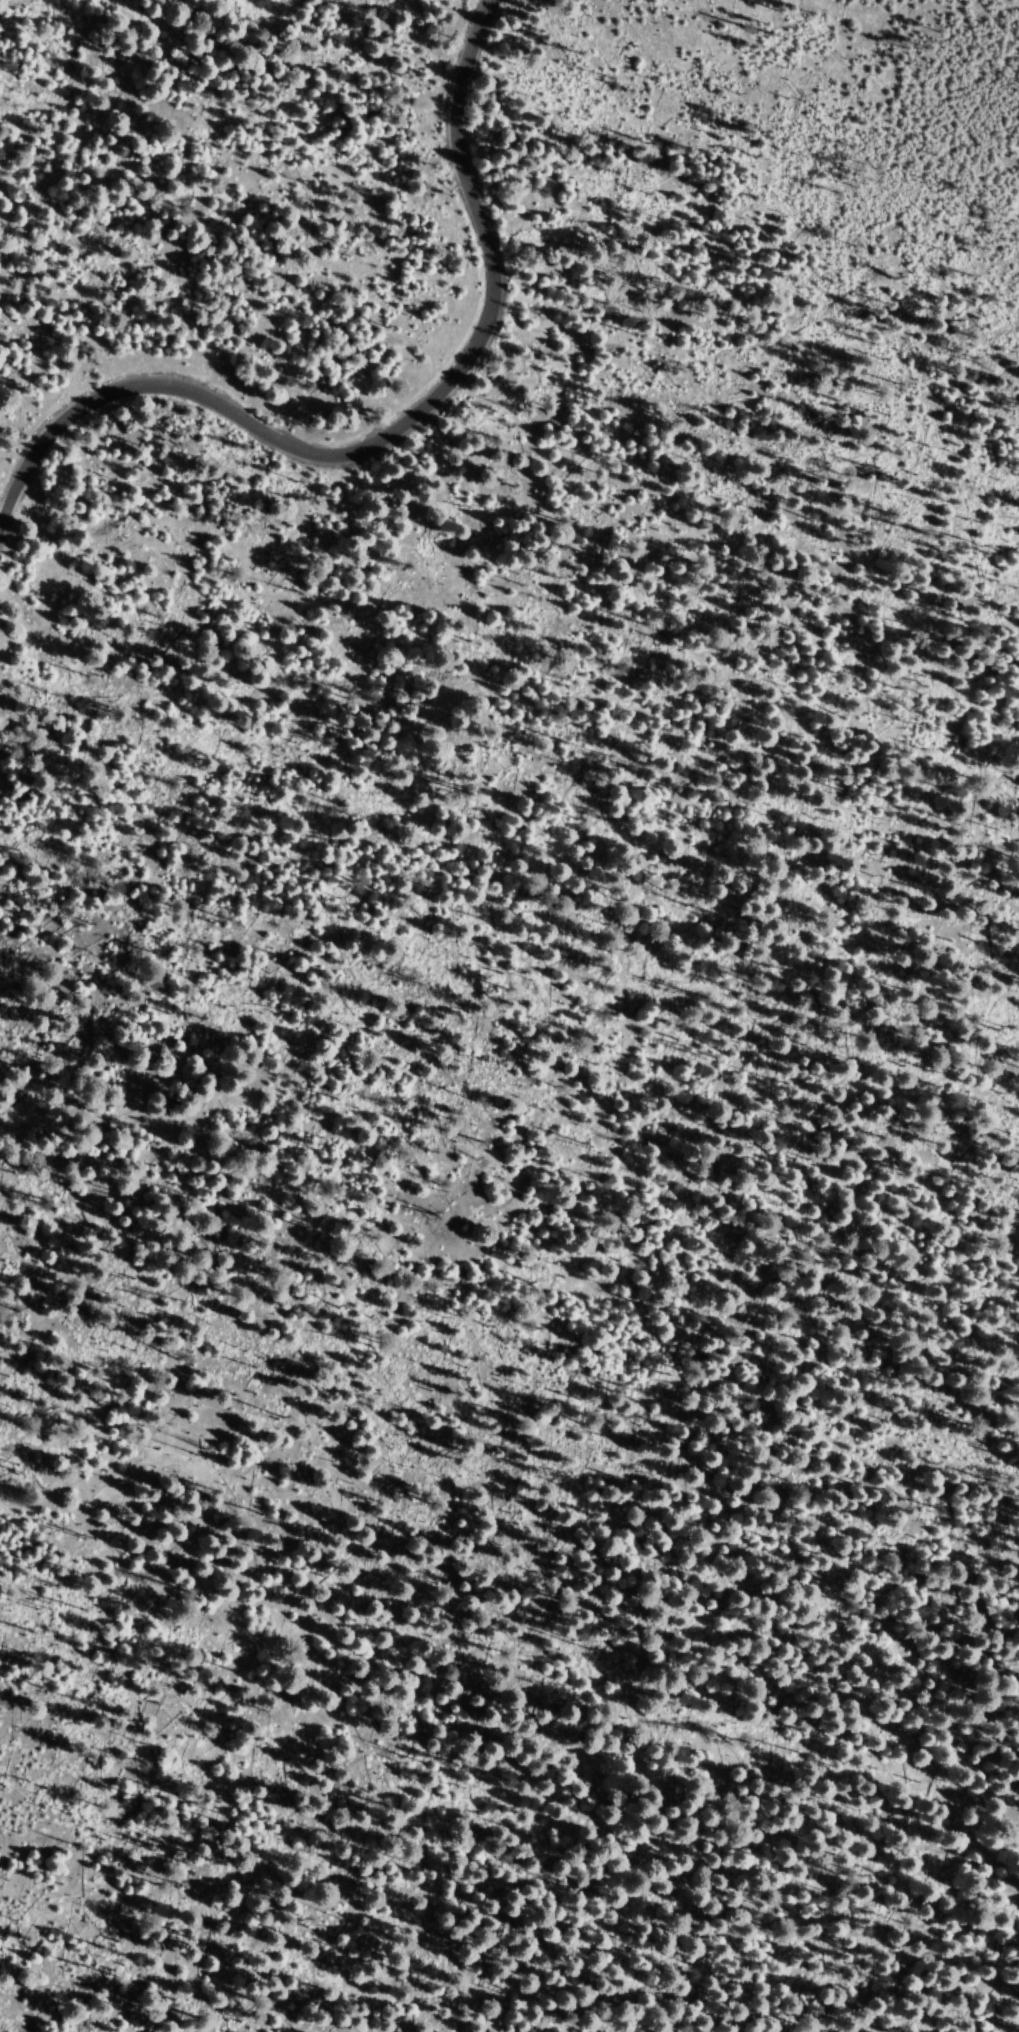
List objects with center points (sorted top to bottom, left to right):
road: (395, 434)

